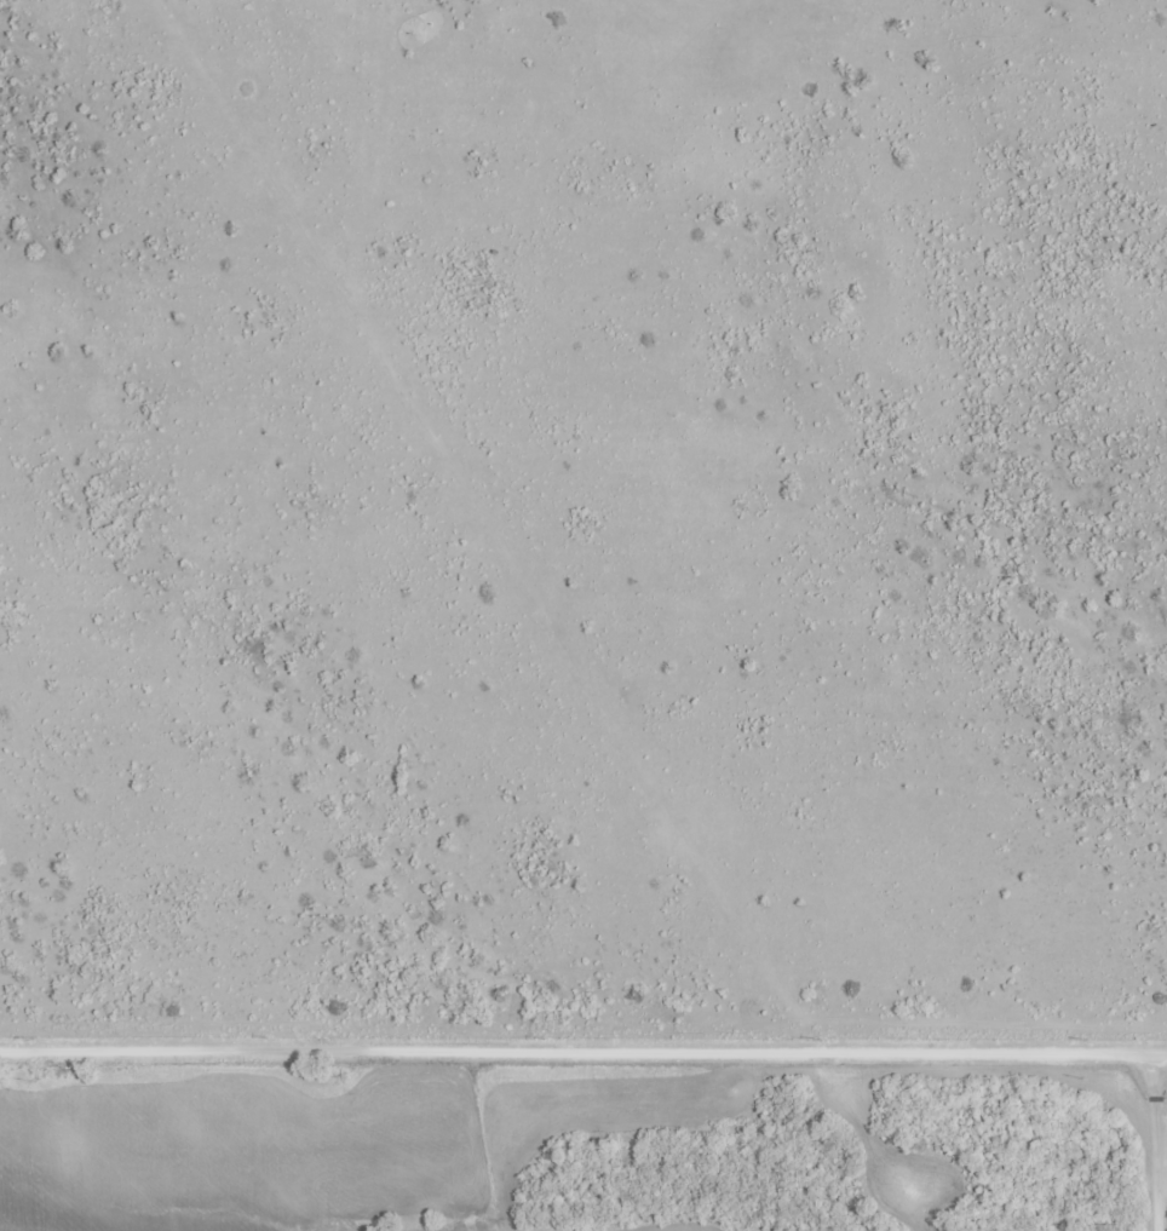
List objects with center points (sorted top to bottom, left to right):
road: (582, 1048)
road: (1157, 1140)

